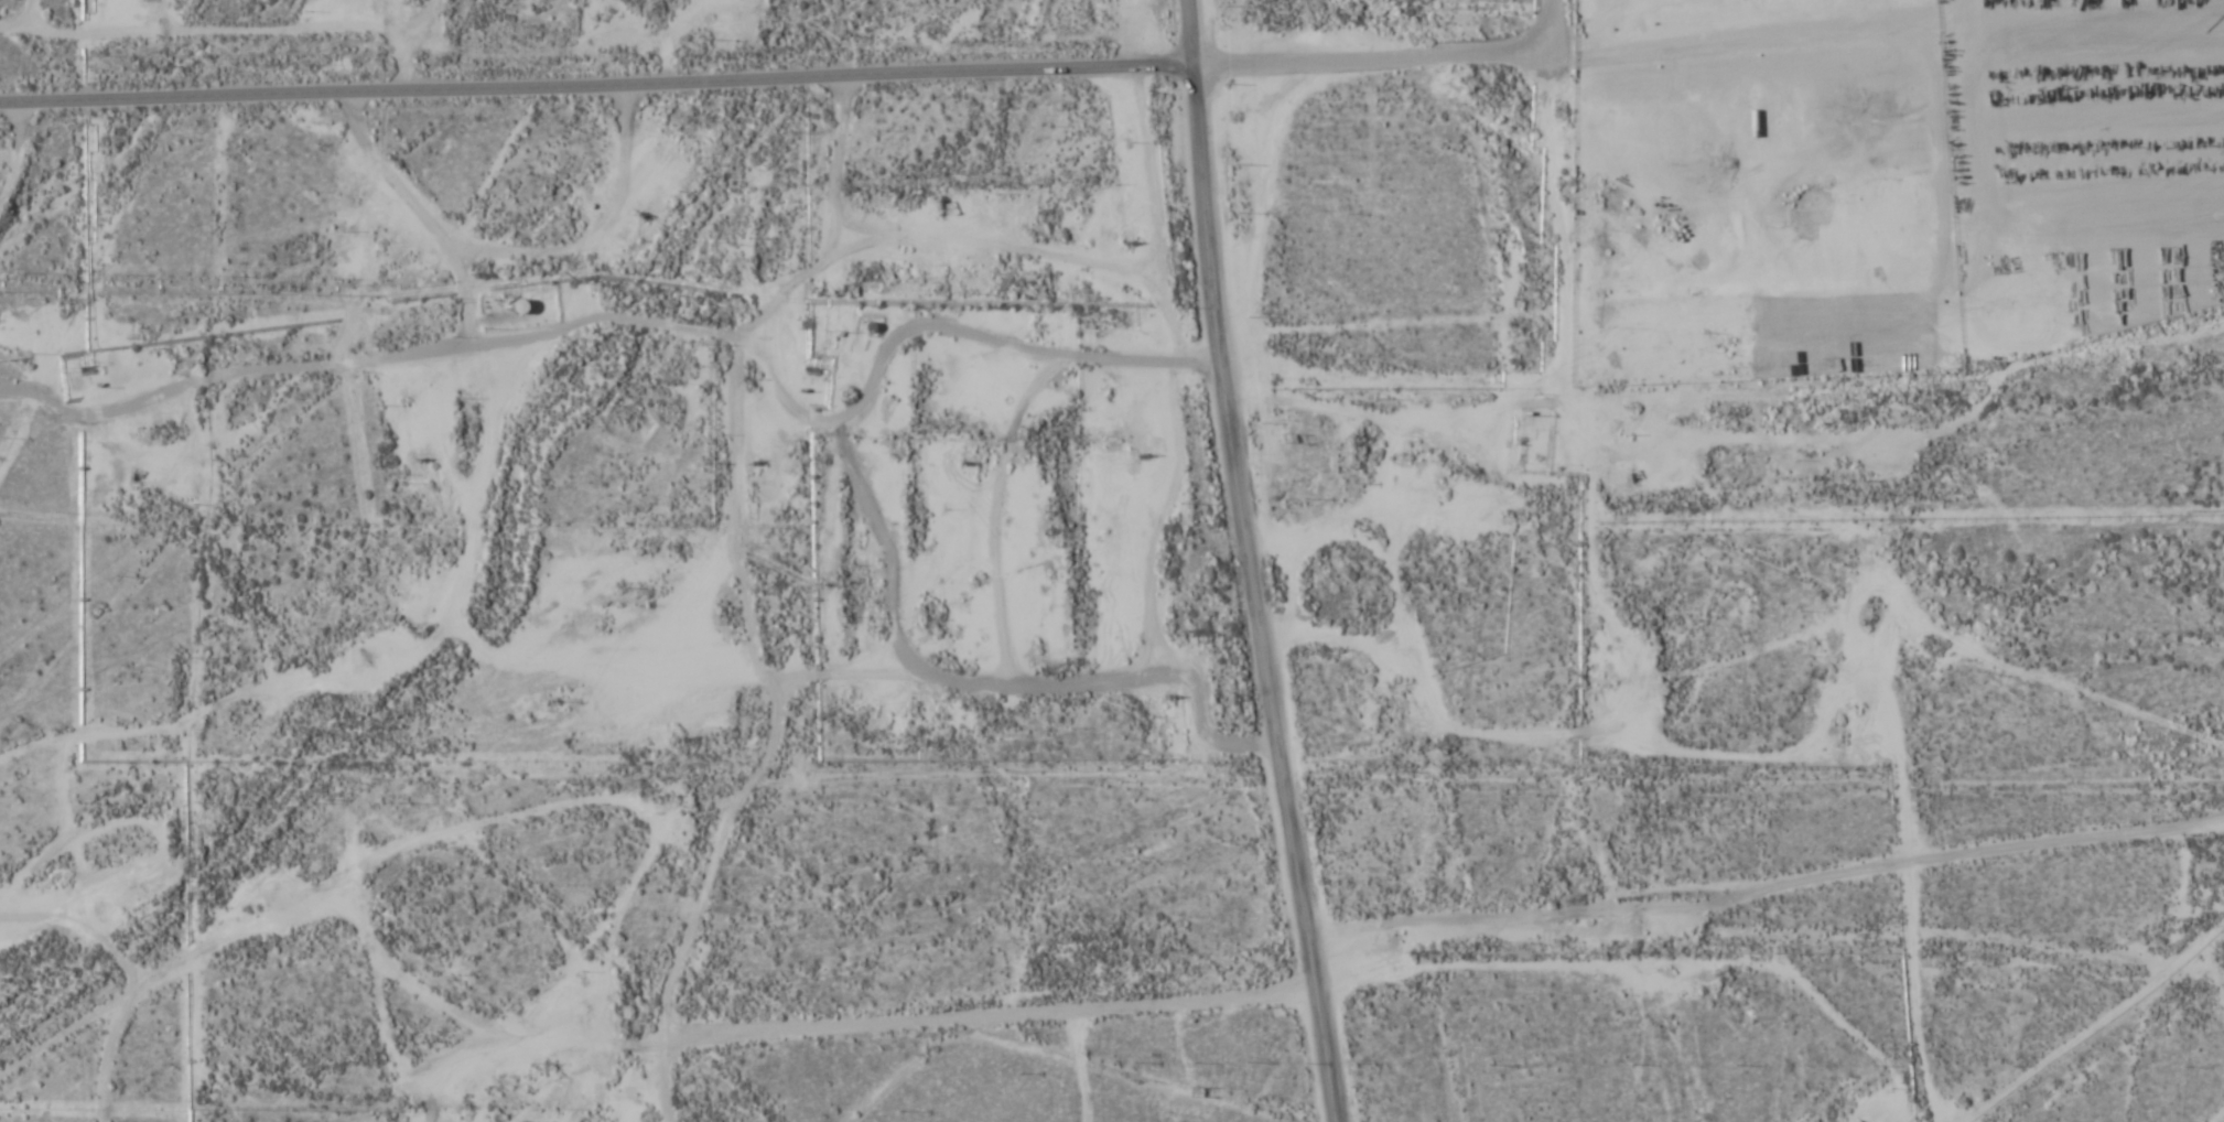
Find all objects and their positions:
road: (51, 51)
road: (597, 89)
road: (905, 336)
road: (108, 525)
road: (1251, 562)
road: (986, 687)
road: (182, 967)
road: (382, 1010)
road: (852, 1025)
road: (2217, 1114)

